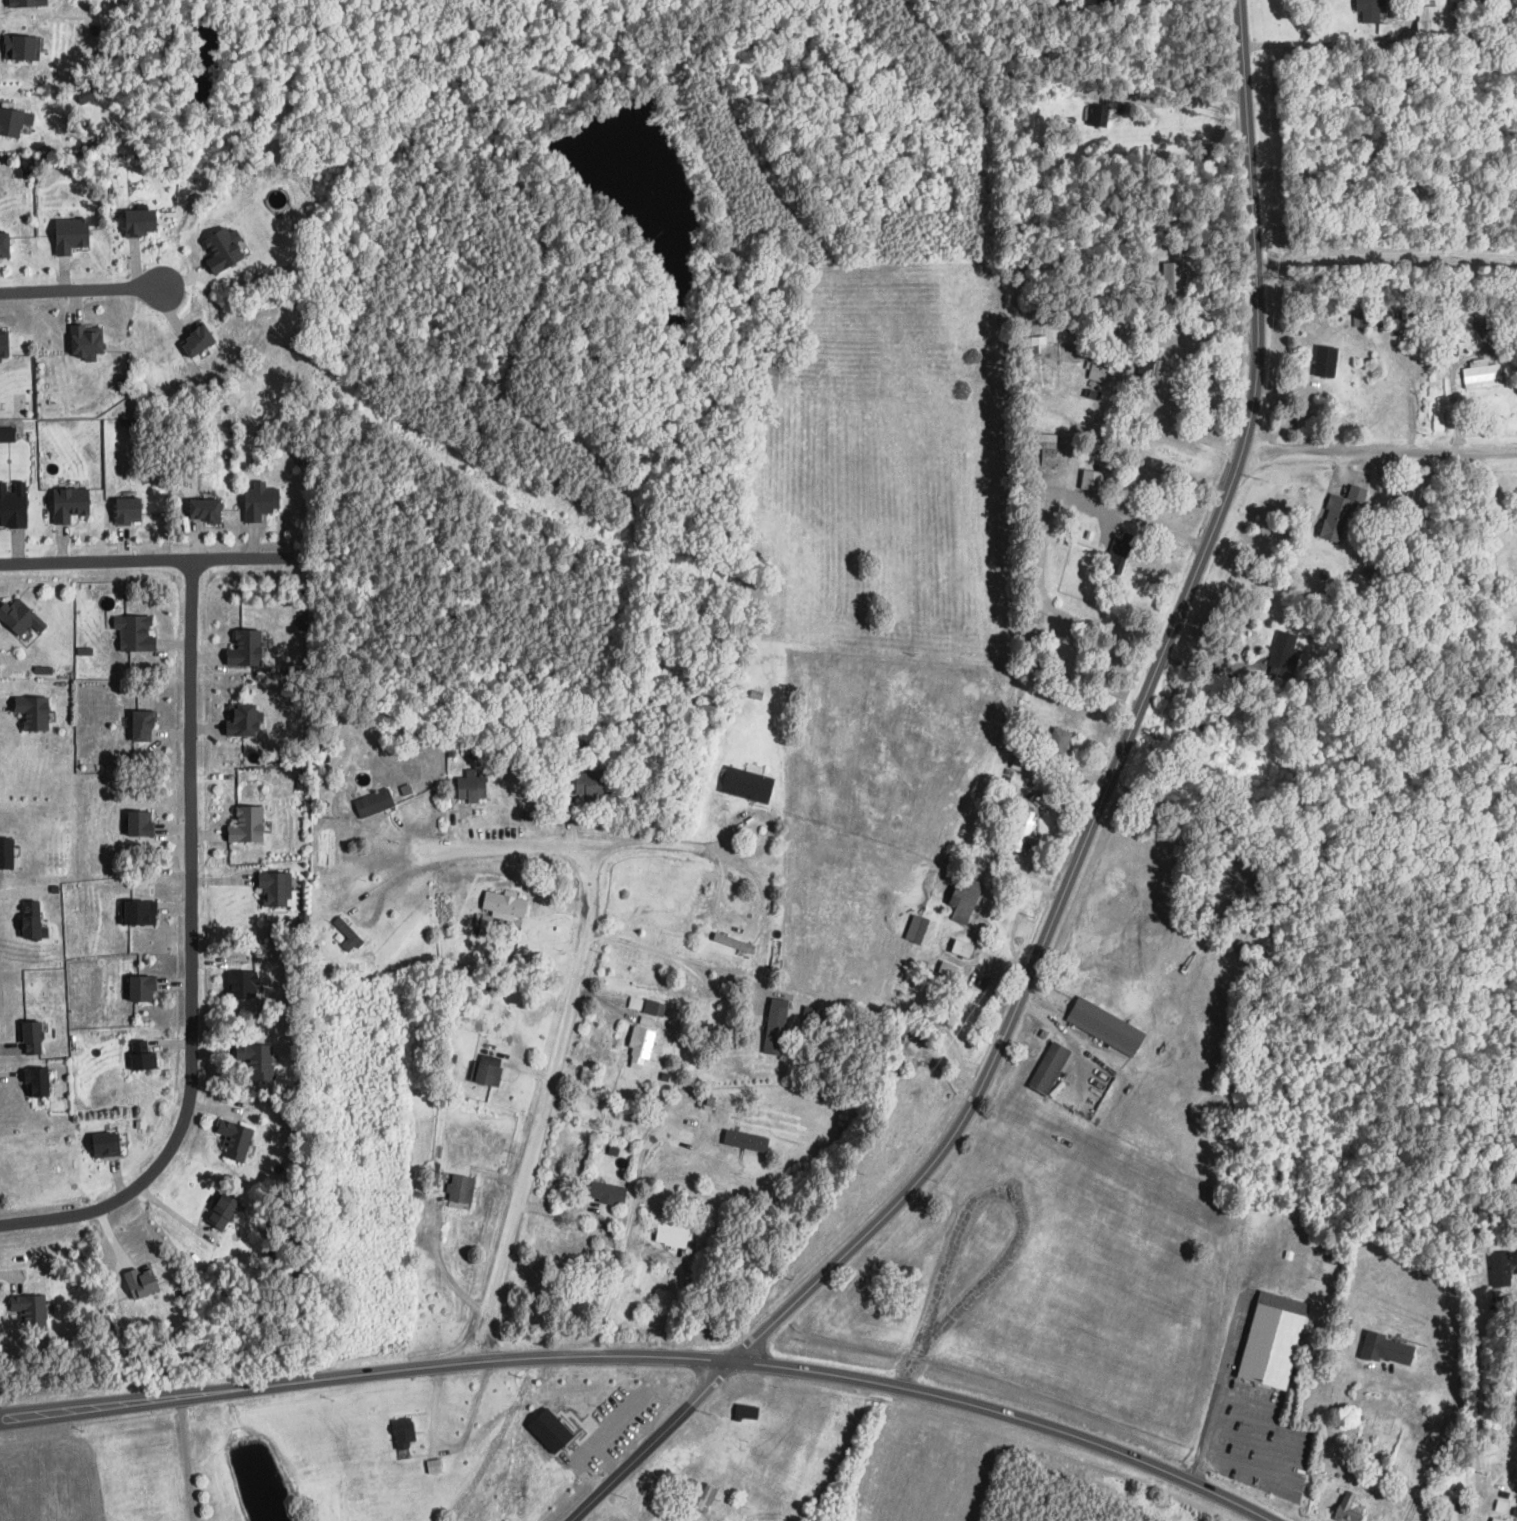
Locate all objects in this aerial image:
building: (1107, 1)
building: (28, 3)
building: (1469, 7)
building: (1369, 11)
building: (1427, 27)
road: (1313, 45)
building: (19, 48)
road: (1179, 103)
building: (1098, 115)
building: (10, 122)
road: (1383, 181)
building: (141, 223)
building: (71, 235)
building: (4, 243)
building: (223, 250)
road: (1385, 253)
building: (1174, 277)
road: (78, 290)
building: (1364, 320)
building: (1484, 323)
building: (1035, 326)
building: (198, 340)
building: (1038, 340)
building: (86, 342)
building: (4, 344)
building: (1452, 349)
building: (1325, 360)
building: (1153, 372)
building: (1481, 374)
building: (1096, 375)
building: (7, 430)
building: (1046, 450)
road: (1379, 452)
building: (1091, 479)
building: (260, 500)
building: (13, 504)
building: (205, 508)
building: (128, 509)
building: (1339, 513)
road: (1131, 526)
building: (1119, 552)
road: (145, 558)
building: (20, 616)
building: (134, 632)
building: (247, 647)
building: (1283, 650)
road: (1207, 667)
building: (1280, 711)
building: (33, 712)
building: (242, 719)
building: (1208, 721)
building: (143, 724)
road: (1129, 732)
building: (1058, 742)
building: (589, 783)
building: (747, 784)
building: (471, 786)
building: (373, 802)
building: (140, 822)
building: (247, 824)
building: (1021, 834)
road: (571, 846)
building: (6, 853)
road: (388, 880)
building: (275, 888)
road: (19, 891)
building: (964, 899)
building: (504, 904)
building: (140, 911)
building: (30, 919)
building: (920, 929)
building: (347, 934)
building: (962, 948)
road: (190, 953)
road: (673, 956)
building: (242, 984)
building: (142, 987)
building: (635, 1003)
building: (652, 1008)
building: (1105, 1027)
building: (774, 1029)
building: (32, 1037)
building: (639, 1048)
building: (141, 1054)
building: (256, 1060)
building: (1049, 1065)
building: (487, 1074)
building: (36, 1081)
building: (1093, 1091)
road: (542, 1104)
building: (234, 1139)
building: (745, 1140)
building: (106, 1144)
building: (1273, 1174)
building: (460, 1189)
building: (607, 1193)
building: (223, 1211)
road: (1020, 1222)
road: (625, 1229)
building: (672, 1235)
building: (1329, 1259)
building: (1500, 1269)
road: (444, 1270)
building: (141, 1282)
building: (30, 1311)
road: (1232, 1332)
building: (1272, 1339)
building: (1387, 1349)
road: (646, 1354)
park: (1316, 1399)
road: (1247, 1403)
road: (1474, 1403)
building: (745, 1412)
parking lot: (1251, 1425)
road: (1208, 1429)
building: (403, 1432)
road: (1442, 1436)
road: (654, 1442)
road: (183, 1459)
road: (1287, 1463)
building: (434, 1465)
building: (700, 1496)
road: (1482, 1501)
building: (1500, 1506)
building: (1349, 1509)
road: (1434, 1512)
building: (1450, 1515)
building: (1495, 1519)

